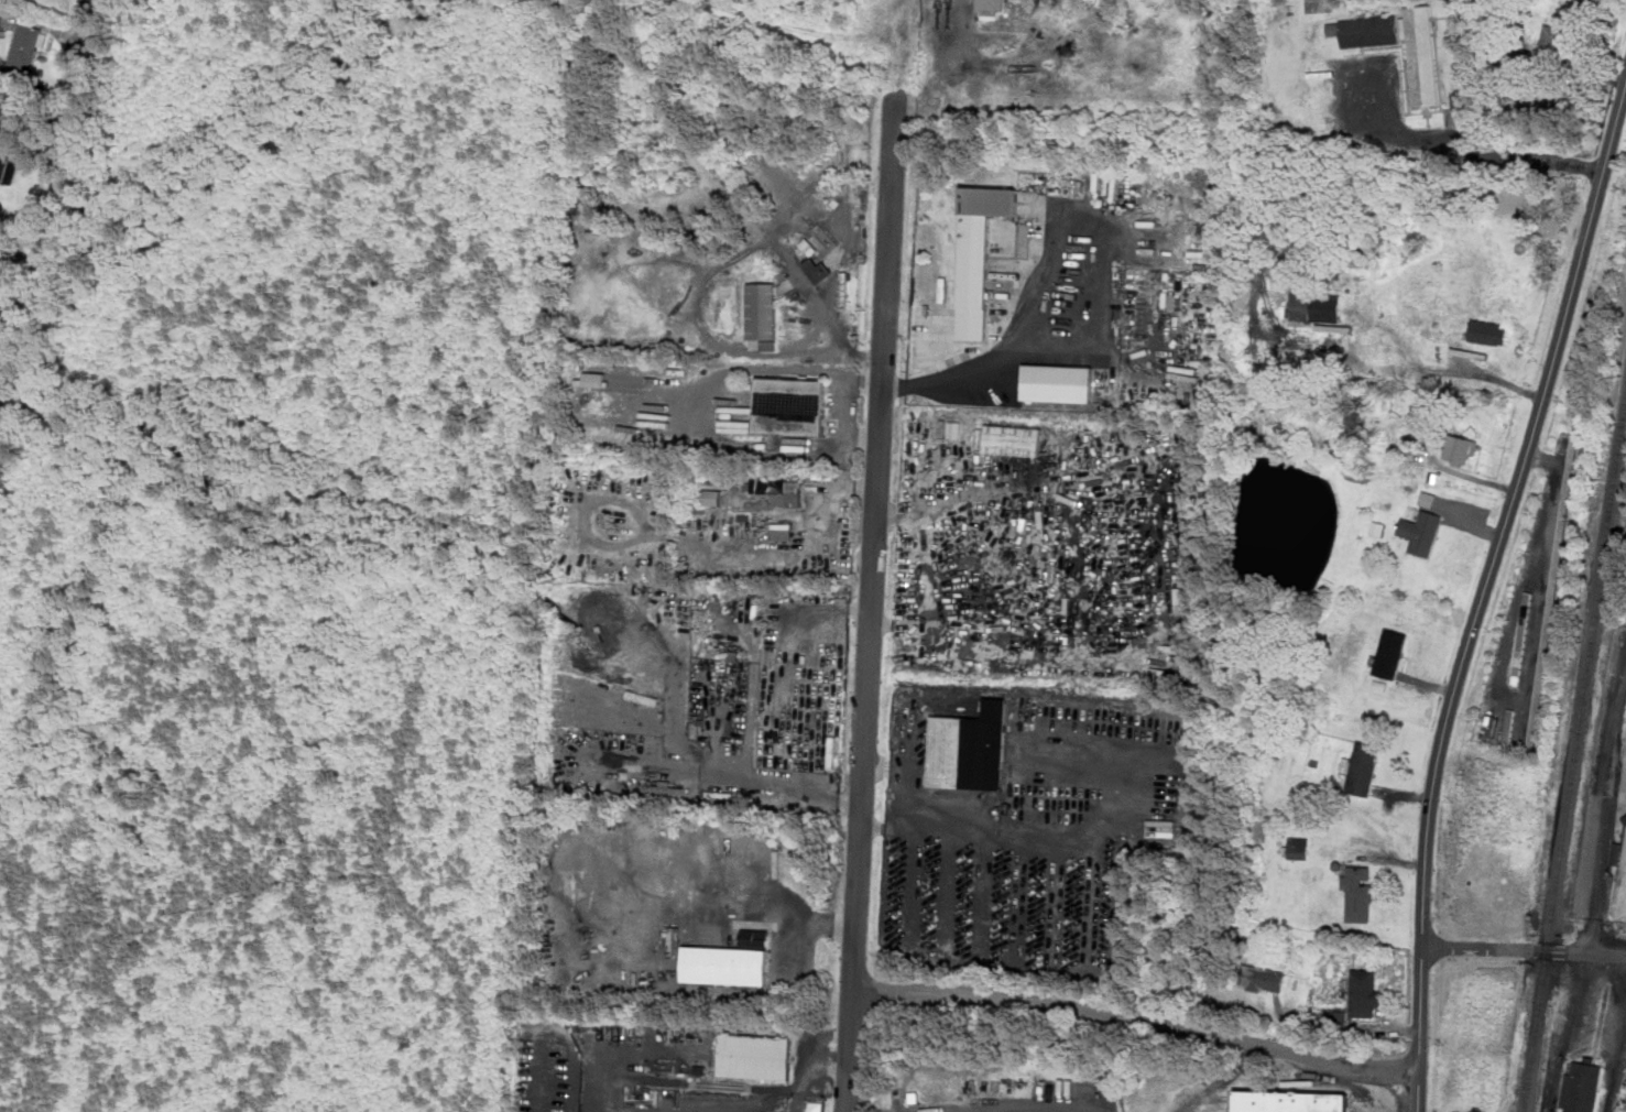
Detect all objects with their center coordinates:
building: (992, 4)
building: (1366, 31)
building: (1552, 41)
building: (26, 45)
building: (1423, 55)
building: (11, 109)
road: (1388, 138)
building: (4, 167)
road: (1056, 219)
building: (825, 236)
building: (980, 253)
building: (819, 270)
building: (1317, 306)
building: (762, 310)
building: (1488, 331)
building: (1438, 351)
building: (1059, 382)
building: (789, 406)
road: (707, 407)
building: (735, 426)
building: (954, 429)
building: (1012, 440)
building: (1462, 449)
building: (779, 492)
building: (708, 497)
building: (1428, 499)
building: (783, 531)
building: (1421, 531)
road: (1484, 592)
building: (1183, 595)
road: (870, 600)
building: (1523, 639)
building: (1392, 653)
road: (809, 671)
building: (971, 749)
railway: (1576, 760)
building: (1364, 767)
road: (720, 770)
road: (1607, 815)
road: (872, 828)
building: (1161, 828)
road: (987, 832)
building: (1300, 847)
street lamp: (1614, 872)
park: (1620, 887)
building: (1358, 892)
road: (745, 912)
road: (847, 926)
road: (1524, 951)
building: (731, 961)
building: (1263, 978)
building: (1366, 991)
building: (1336, 1017)
road: (1137, 1020)
building: (756, 1056)
road: (624, 1058)
building: (1582, 1087)
road: (788, 1088)
building: (1292, 1101)
road: (1014, 1109)

